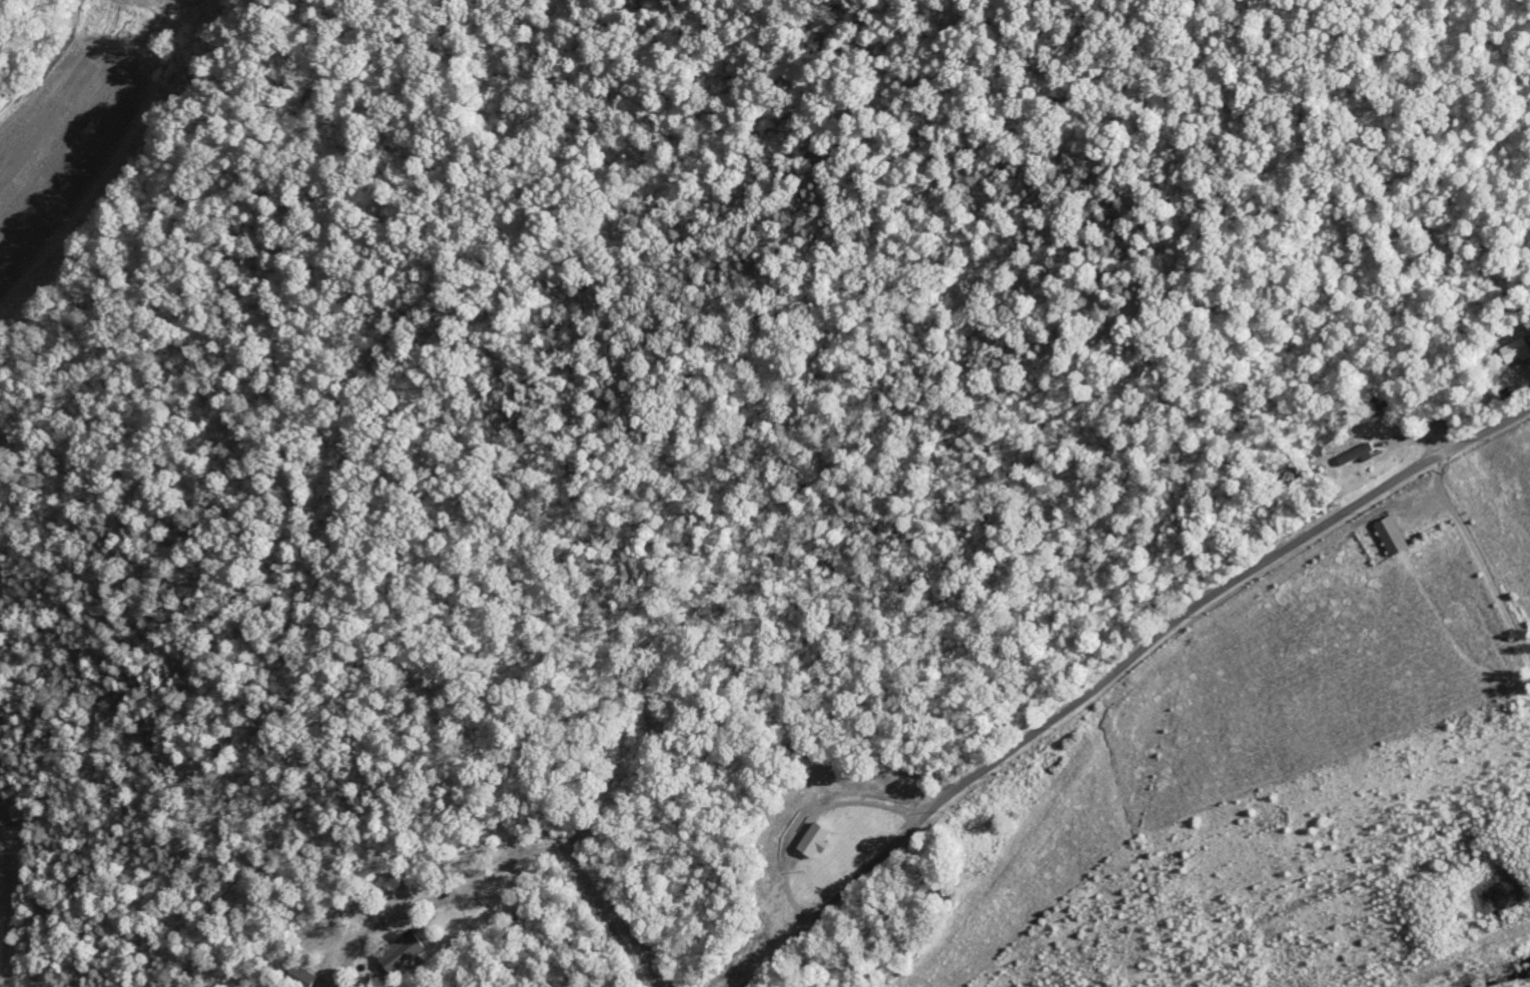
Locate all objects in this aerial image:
building: (1516, 352)
building: (1358, 456)
building: (1393, 538)
road: (1478, 556)
road: (1116, 669)
building: (817, 841)
building: (402, 954)
building: (301, 976)

